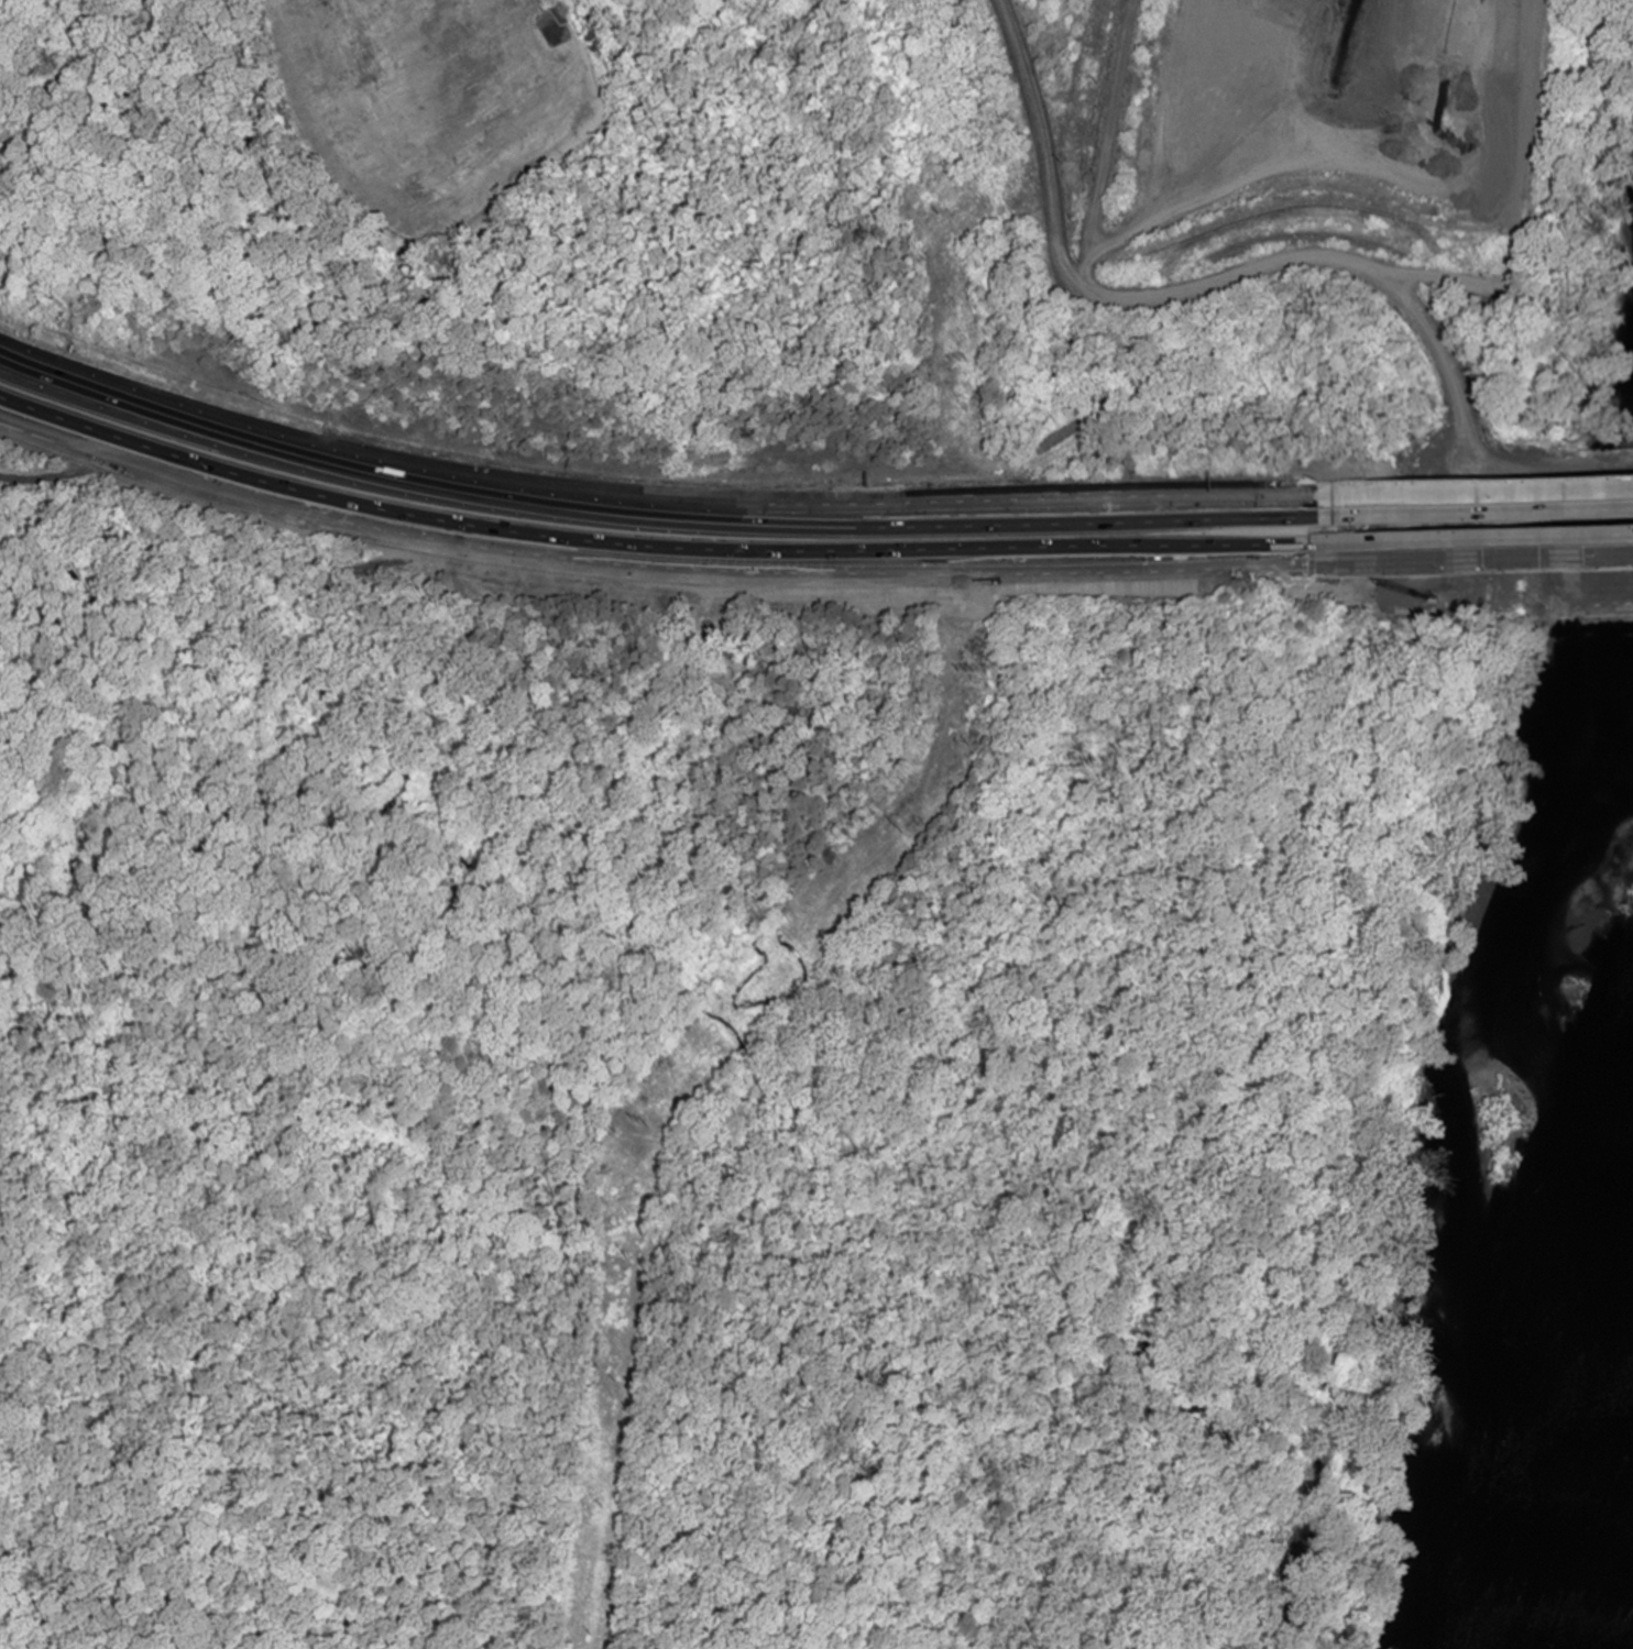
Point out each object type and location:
road: (1105, 142)
road: (1140, 298)
road: (1598, 487)
road: (1449, 491)
road: (657, 502)
road: (873, 538)
road: (1590, 561)
road: (647, 562)
road: (1431, 564)
river: (1605, 1526)

